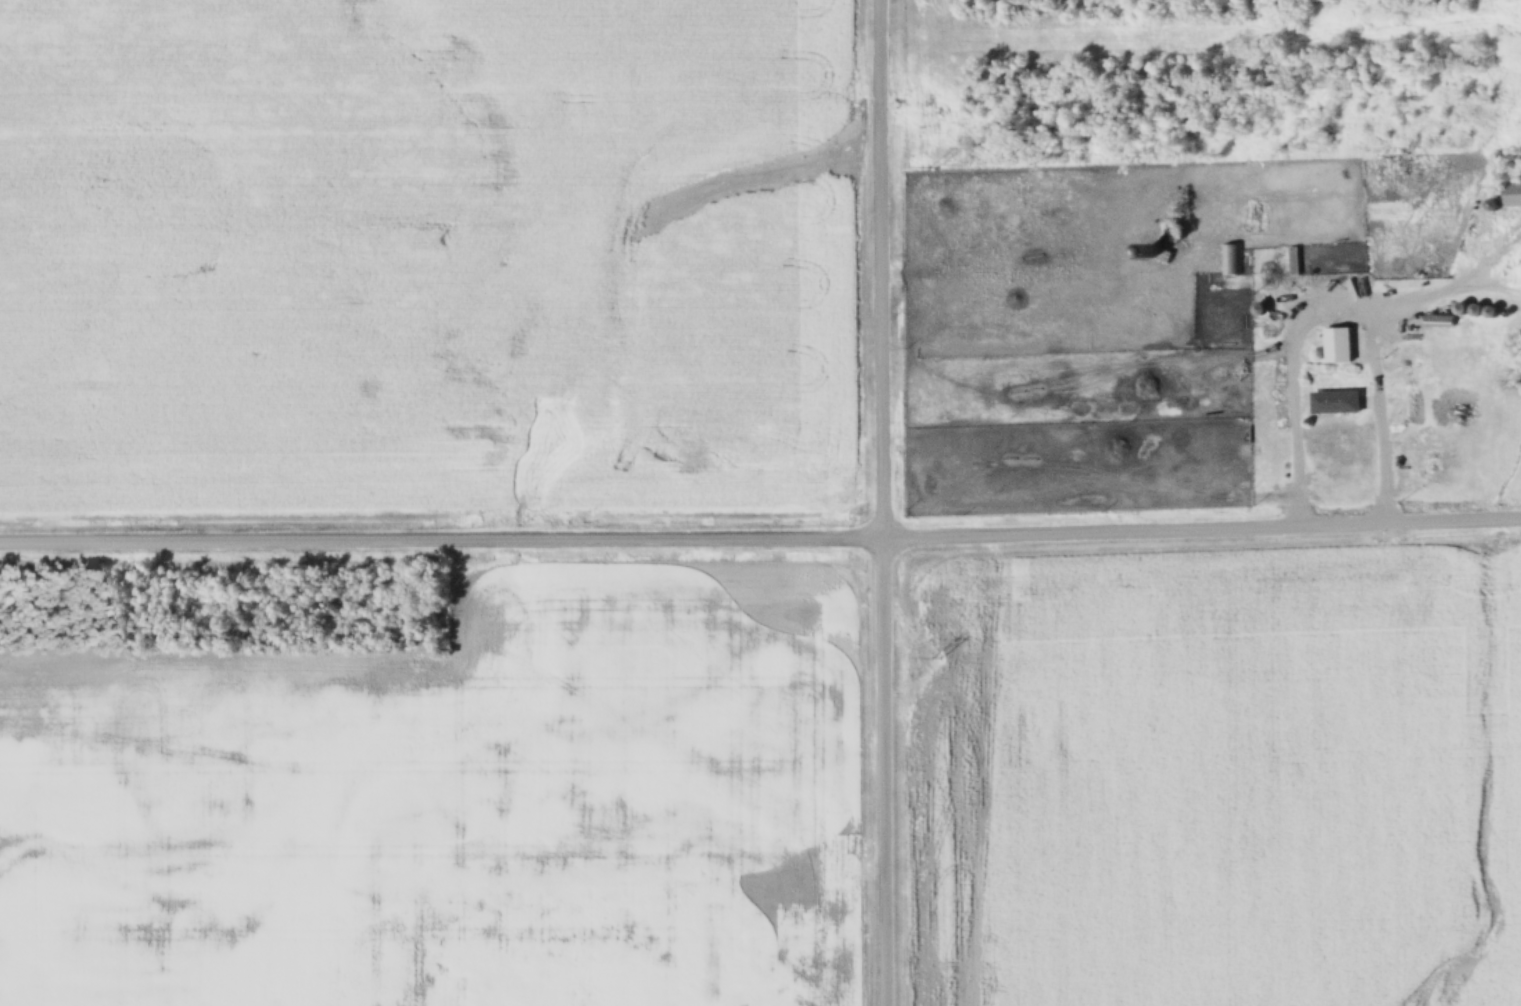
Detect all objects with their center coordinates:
building: (1395, 165)
power tower: (934, 179)
building: (1513, 196)
building: (1157, 254)
building: (1231, 261)
building: (1294, 262)
road: (1334, 311)
building: (1439, 321)
building: (1263, 327)
building: (1336, 403)
road: (886, 503)
road: (1203, 528)
road: (443, 535)
power tower: (935, 660)

